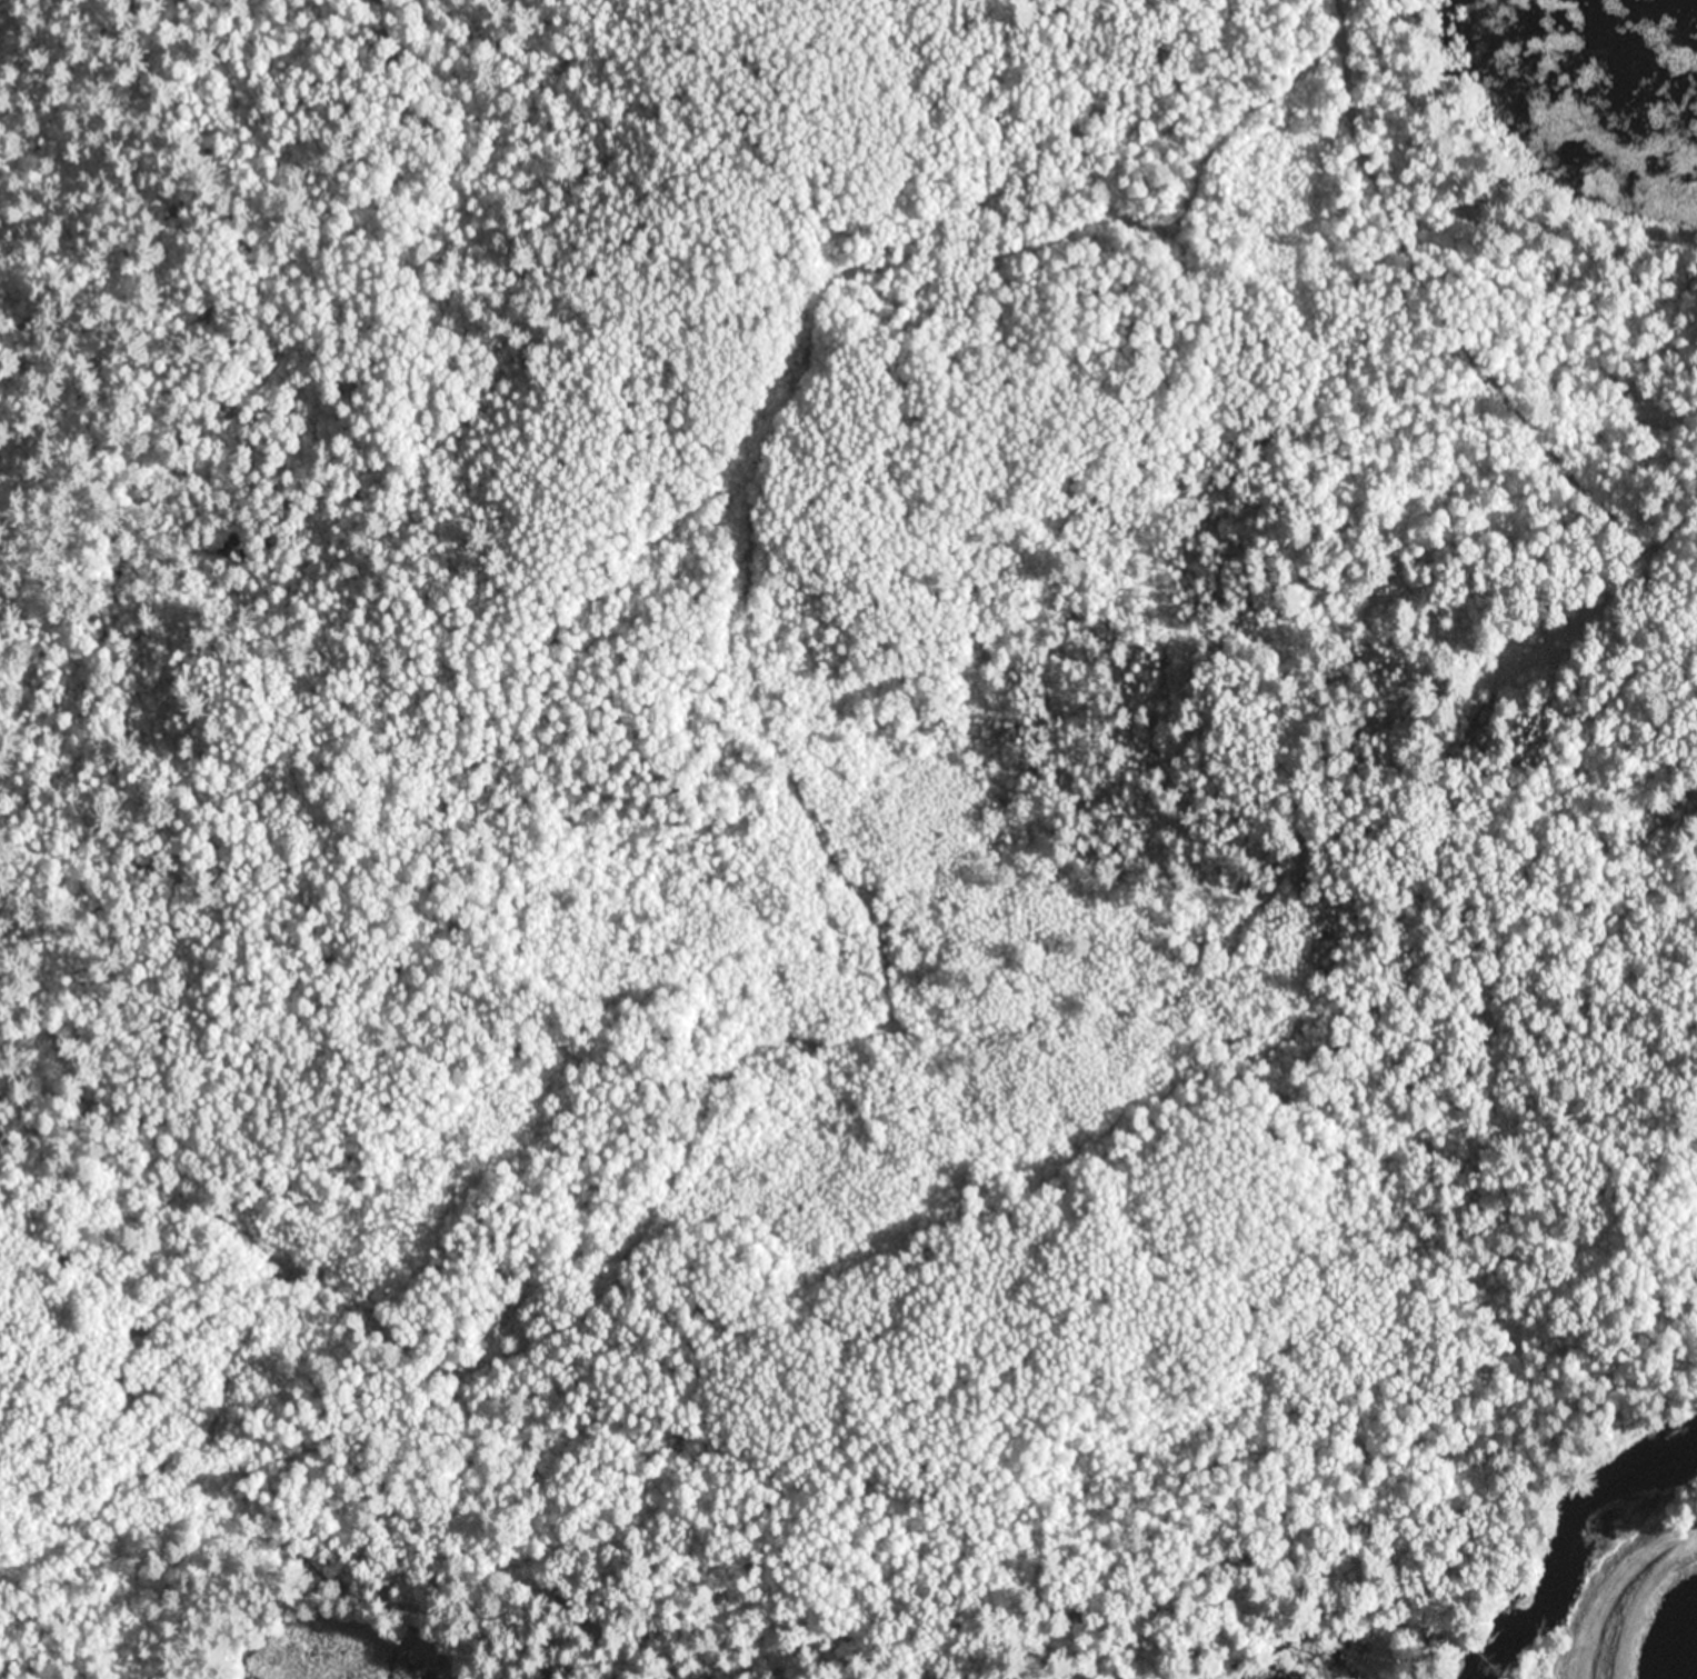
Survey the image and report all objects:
road: (1470, 306)

